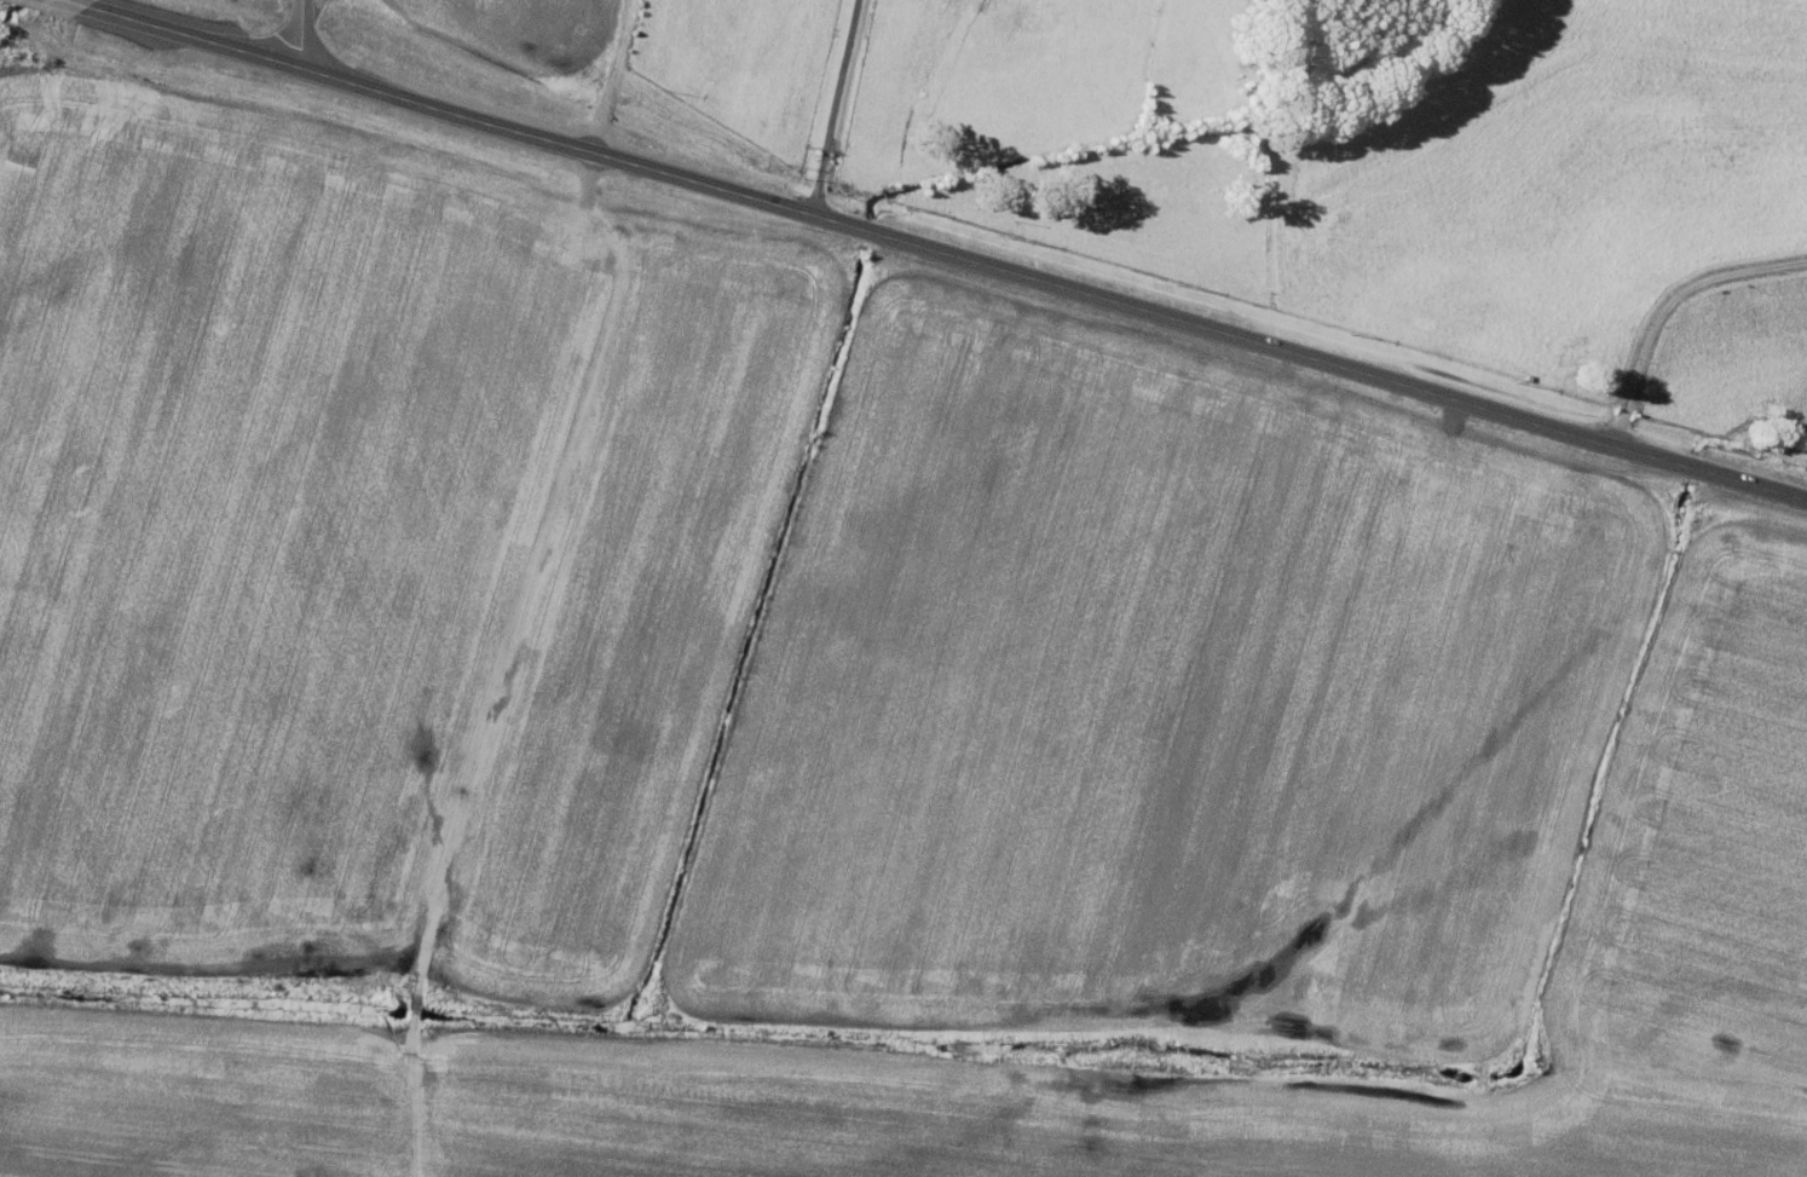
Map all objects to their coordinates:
road: (296, 29)
road: (945, 244)

